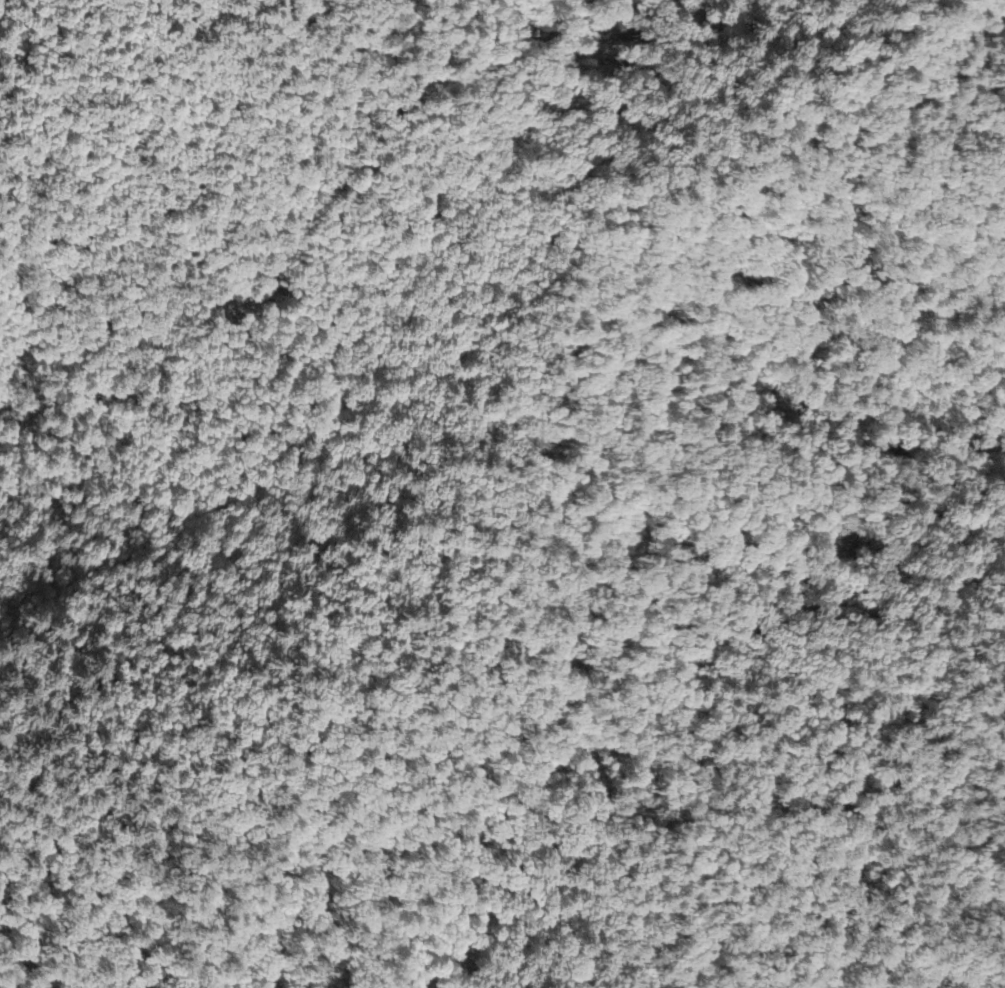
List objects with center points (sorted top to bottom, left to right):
road: (591, 484)

